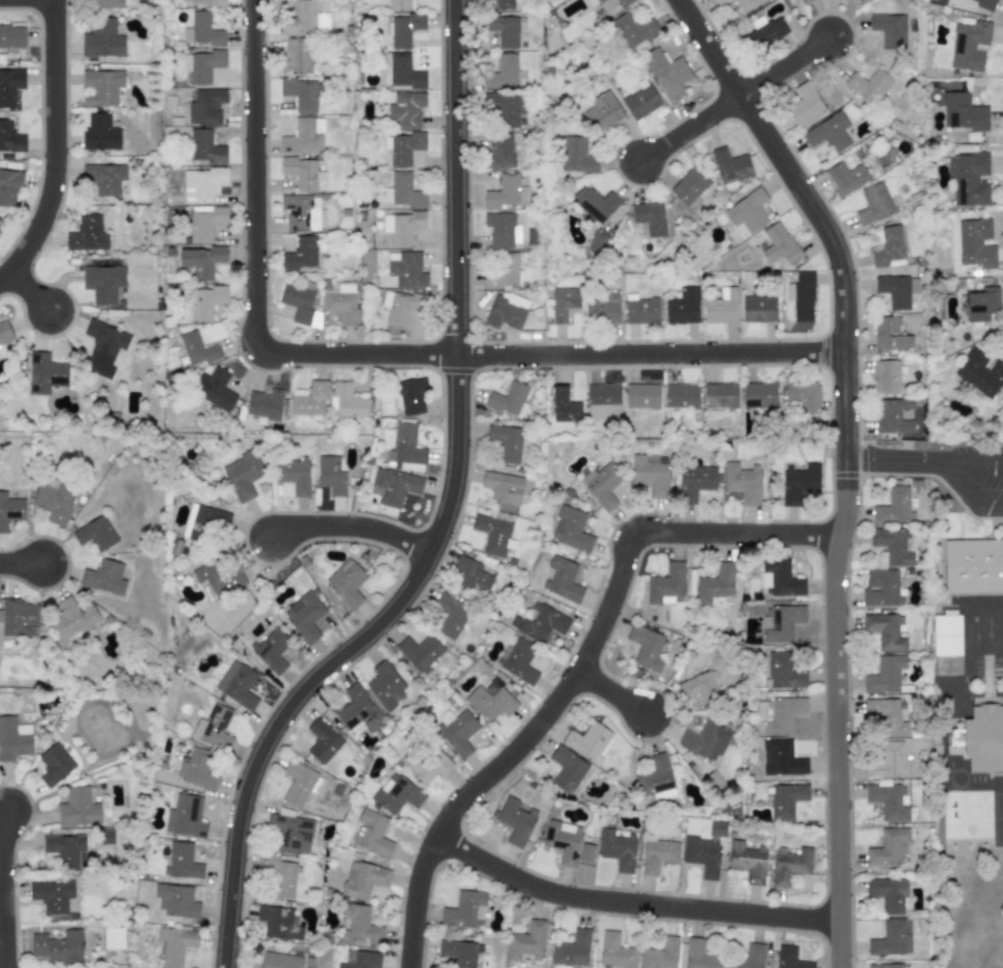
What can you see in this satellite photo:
building: (806, 0)
building: (202, 2)
building: (720, 2)
building: (108, 3)
building: (984, 3)
building: (398, 4)
building: (500, 4)
building: (613, 4)
building: (745, 5)
building: (304, 19)
building: (404, 29)
building: (502, 29)
building: (633, 29)
building: (202, 30)
building: (889, 30)
building: (765, 33)
building: (12, 37)
building: (102, 39)
building: (968, 45)
building: (296, 56)
building: (202, 65)
road: (783, 67)
building: (402, 72)
building: (502, 72)
building: (666, 73)
building: (868, 85)
building: (10, 86)
building: (101, 87)
building: (301, 94)
building: (641, 102)
building: (804, 105)
building: (206, 106)
building: (505, 107)
building: (406, 110)
building: (602, 112)
building: (962, 112)
road: (689, 128)
building: (100, 132)
building: (828, 133)
building: (304, 135)
building: (10, 138)
road: (53, 146)
building: (205, 147)
building: (403, 147)
building: (499, 151)
building: (576, 155)
building: (730, 165)
building: (300, 172)
road: (253, 176)
building: (846, 177)
building: (103, 178)
building: (968, 179)
building: (202, 184)
building: (689, 186)
building: (9, 187)
building: (503, 190)
building: (402, 191)
building: (523, 195)
building: (595, 203)
building: (873, 204)
building: (747, 211)
building: (300, 212)
building: (649, 217)
building: (206, 223)
building: (402, 226)
building: (500, 227)
building: (86, 234)
building: (597, 240)
building: (975, 243)
building: (778, 244)
building: (888, 246)
building: (302, 253)
building: (201, 260)
building: (405, 269)
building: (504, 273)
road: (455, 279)
building: (102, 282)
building: (893, 290)
road: (27, 291)
building: (801, 296)
building: (341, 301)
building: (206, 302)
building: (565, 302)
building: (979, 303)
building: (401, 306)
building: (682, 307)
building: (721, 307)
building: (758, 308)
building: (603, 309)
building: (640, 309)
building: (505, 312)
building: (4, 331)
building: (890, 334)
building: (103, 348)
building: (197, 349)
road: (548, 354)
building: (979, 371)
building: (45, 373)
building: (886, 377)
building: (214, 389)
building: (720, 395)
building: (758, 395)
building: (803, 395)
building: (410, 396)
building: (641, 396)
building: (681, 396)
building: (507, 398)
building: (310, 401)
building: (347, 401)
building: (603, 401)
building: (264, 404)
building: (564, 406)
building: (892, 416)
building: (506, 442)
building: (405, 445)
road: (844, 461)
road: (893, 462)
road: (972, 465)
building: (650, 473)
building: (242, 475)
building: (294, 475)
building: (331, 475)
building: (742, 481)
building: (694, 482)
building: (798, 483)
building: (602, 485)
building: (503, 487)
road: (970, 492)
building: (53, 503)
building: (894, 504)
building: (10, 510)
building: (203, 522)
road: (351, 526)
building: (571, 529)
building: (492, 533)
building: (95, 534)
building: (892, 545)
road: (20, 562)
building: (975, 562)
building: (472, 575)
building: (104, 577)
building: (779, 578)
building: (216, 580)
building: (562, 580)
building: (346, 582)
building: (715, 584)
building: (667, 585)
building: (881, 587)
building: (449, 615)
building: (304, 616)
building: (20, 617)
building: (72, 618)
building: (780, 622)
building: (540, 623)
building: (886, 631)
building: (950, 643)
building: (645, 647)
building: (271, 650)
building: (420, 651)
building: (518, 661)
road: (577, 668)
building: (783, 671)
building: (885, 674)
building: (237, 685)
building: (385, 685)
building: (700, 688)
road: (610, 693)
building: (490, 702)
building: (358, 710)
building: (783, 714)
building: (888, 715)
building: (213, 727)
building: (456, 731)
road: (269, 733)
building: (983, 737)
building: (12, 740)
building: (322, 740)
building: (586, 740)
building: (705, 740)
building: (781, 758)
building: (885, 761)
building: (425, 762)
building: (54, 764)
building: (197, 769)
building: (566, 770)
building: (655, 778)
building: (297, 783)
building: (396, 794)
building: (786, 800)
building: (889, 801)
building: (77, 808)
building: (185, 816)
building: (516, 820)
building: (717, 829)
building: (290, 833)
building: (371, 833)
building: (563, 841)
building: (888, 847)
building: (616, 849)
building: (65, 851)
building: (585, 853)
building: (658, 855)
building: (702, 856)
building: (747, 861)
building: (182, 862)
building: (789, 865)
building: (280, 876)
building: (363, 879)
road: (1, 888)
building: (887, 893)
building: (51, 895)
building: (176, 900)
road: (630, 903)
building: (464, 909)
building: (278, 922)
building: (359, 924)
building: (113, 938)
building: (891, 938)
building: (527, 942)
building: (175, 945)
building: (57, 946)
building: (572, 950)
building: (458, 952)
building: (615, 952)
building: (661, 954)
building: (700, 955)
building: (747, 957)
building: (789, 958)
building: (360, 959)
building: (280, 960)
building: (888, 966)

